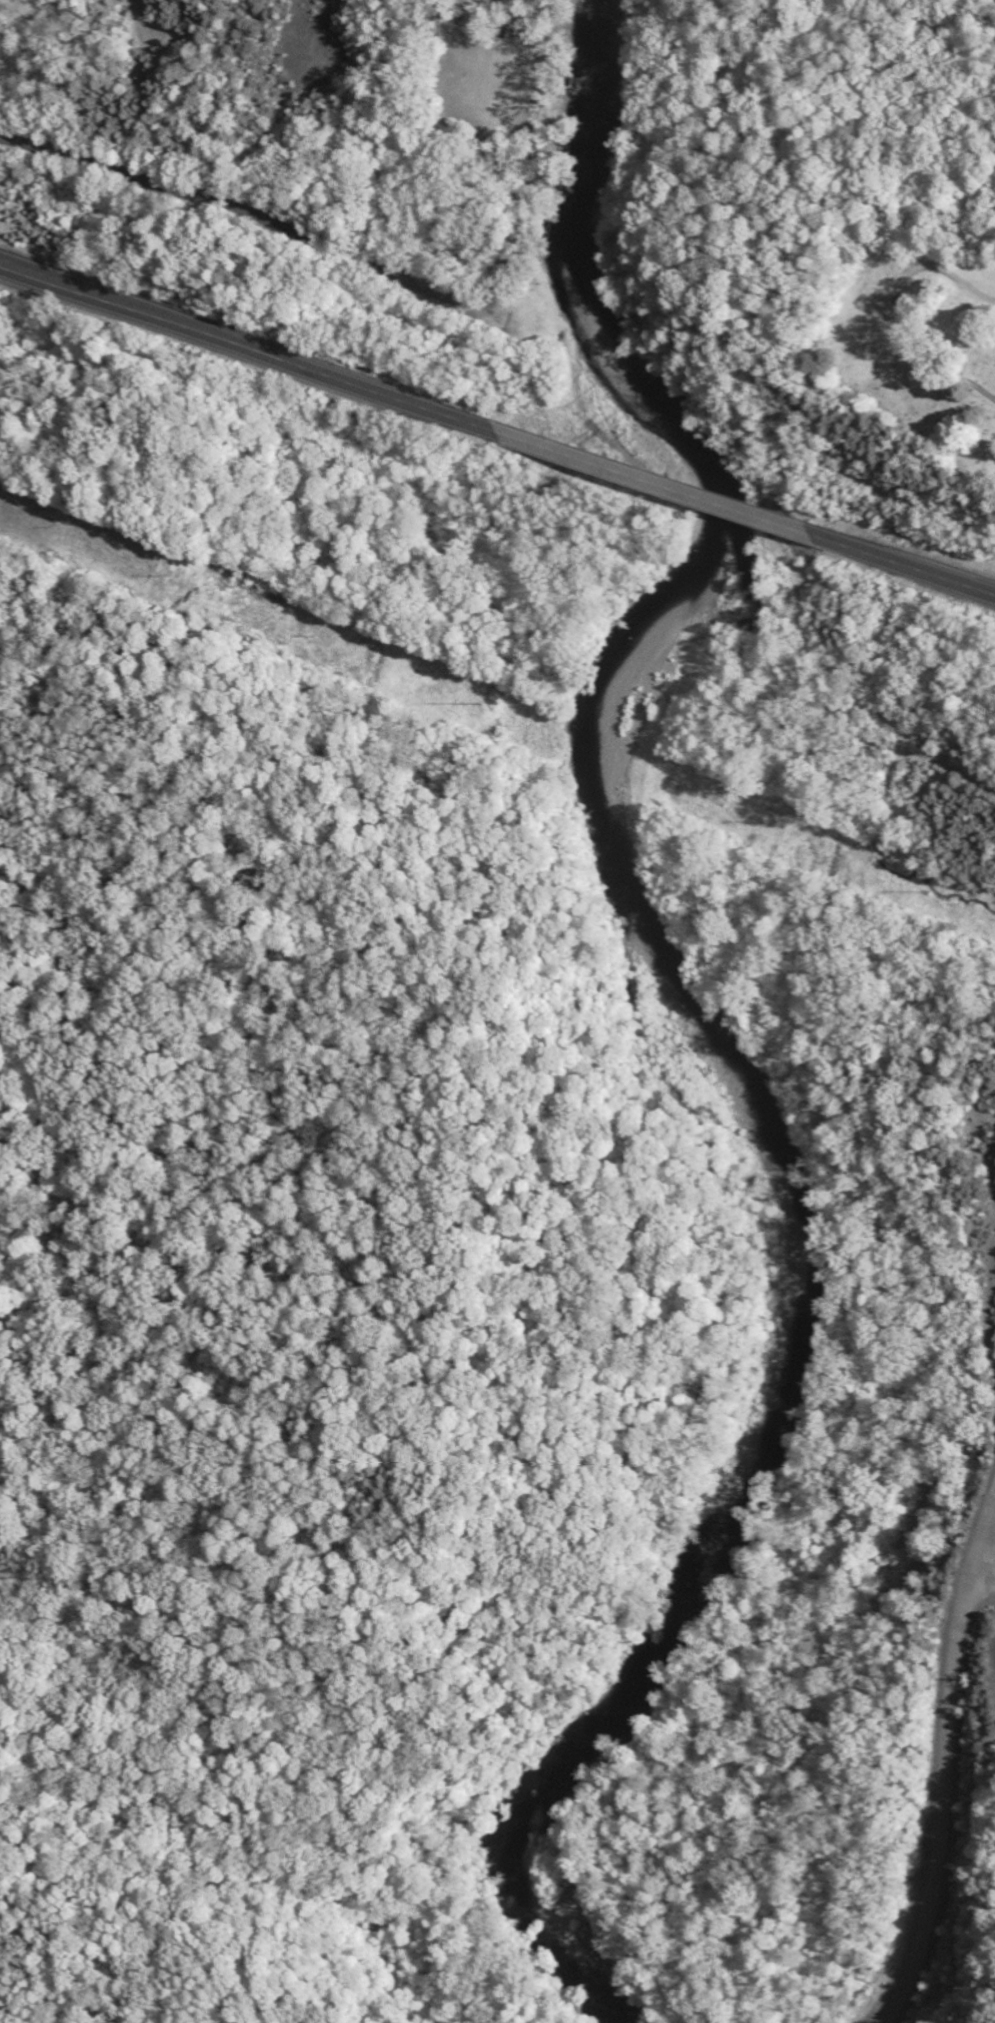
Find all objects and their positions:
road: (378, 267)
park: (917, 343)
road: (249, 348)
road: (654, 482)
road: (902, 564)
road: (906, 784)
river: (709, 1027)
road: (993, 1520)
road: (943, 1767)

